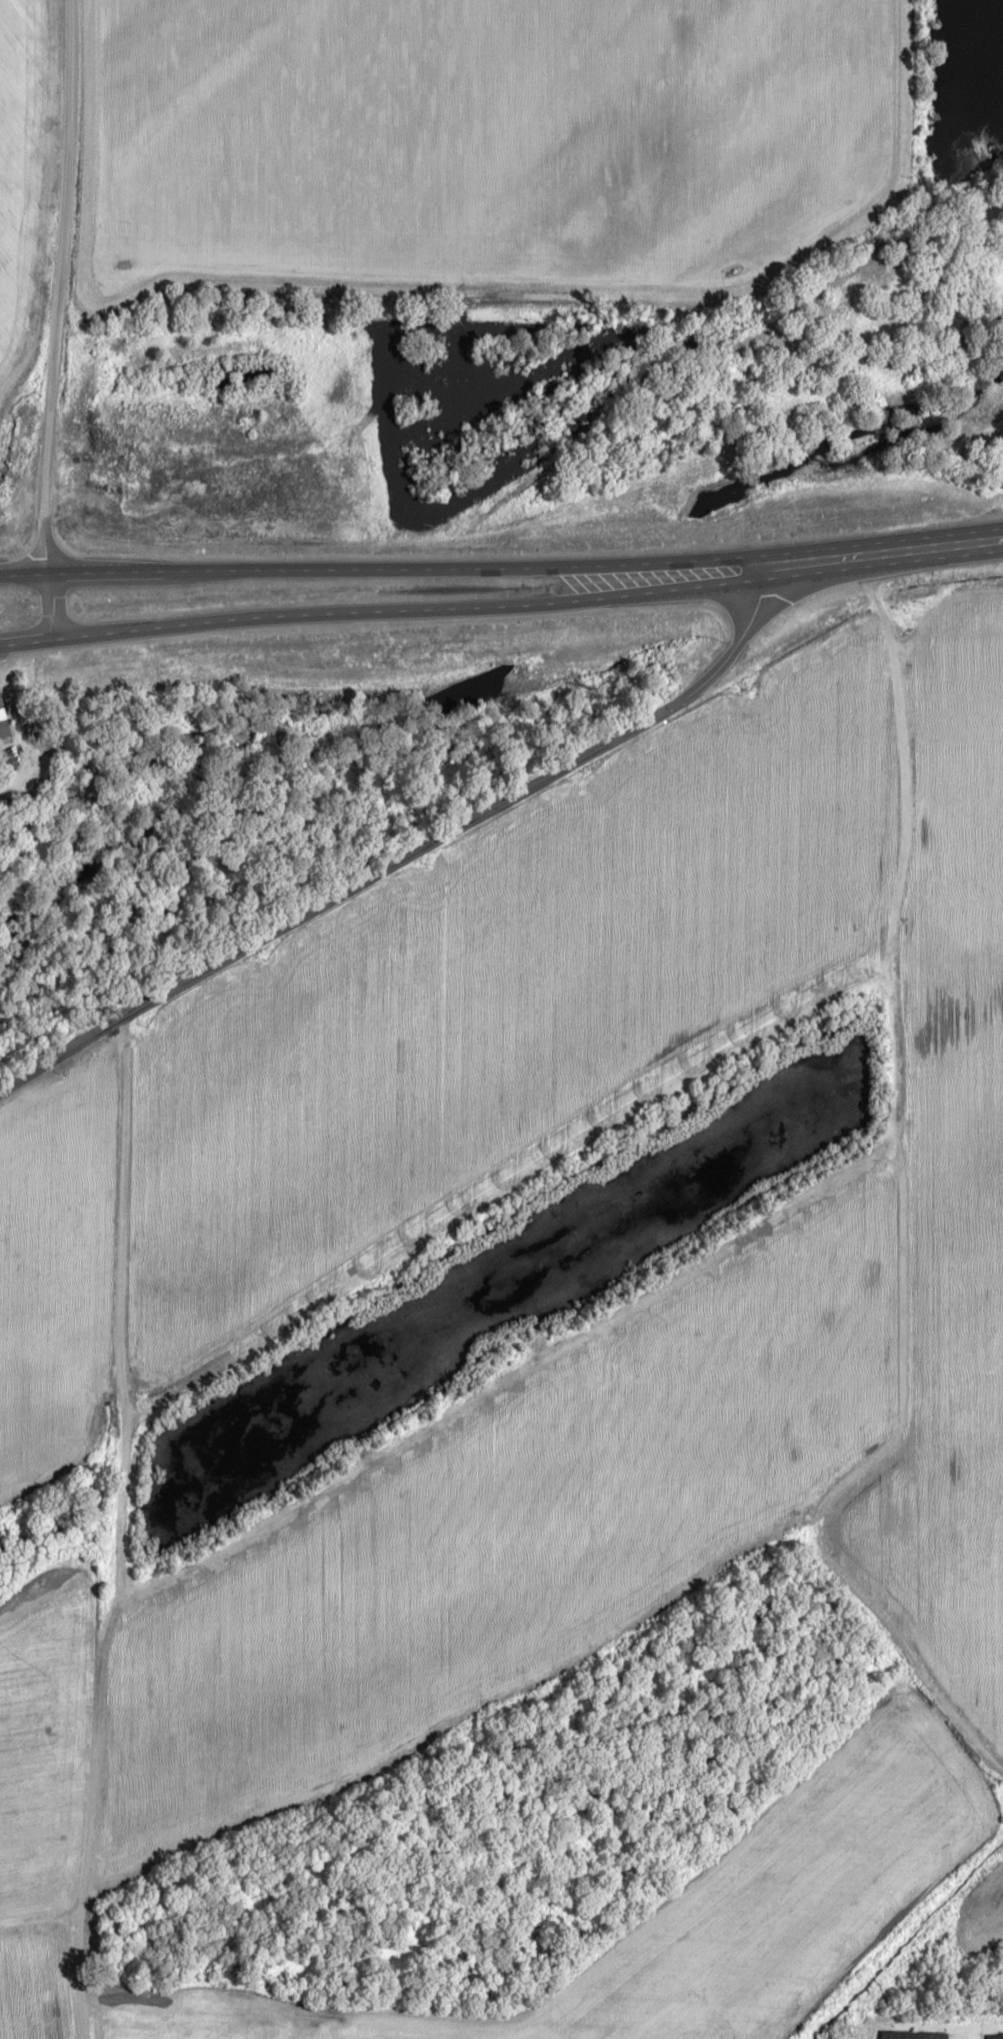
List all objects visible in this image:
road: (59, 284)
road: (878, 546)
road: (376, 565)
road: (49, 600)
road: (377, 605)
building: (4, 731)
road: (410, 852)
road: (112, 1526)
building: (913, 2034)

